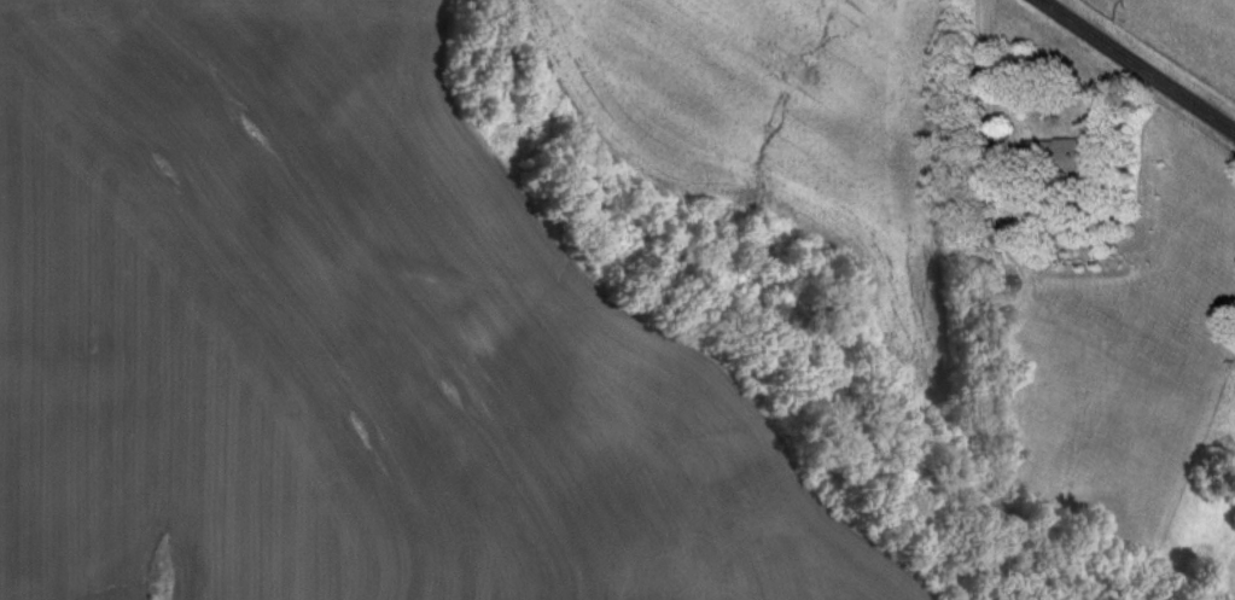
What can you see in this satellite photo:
road: (1137, 65)
building: (1060, 157)

